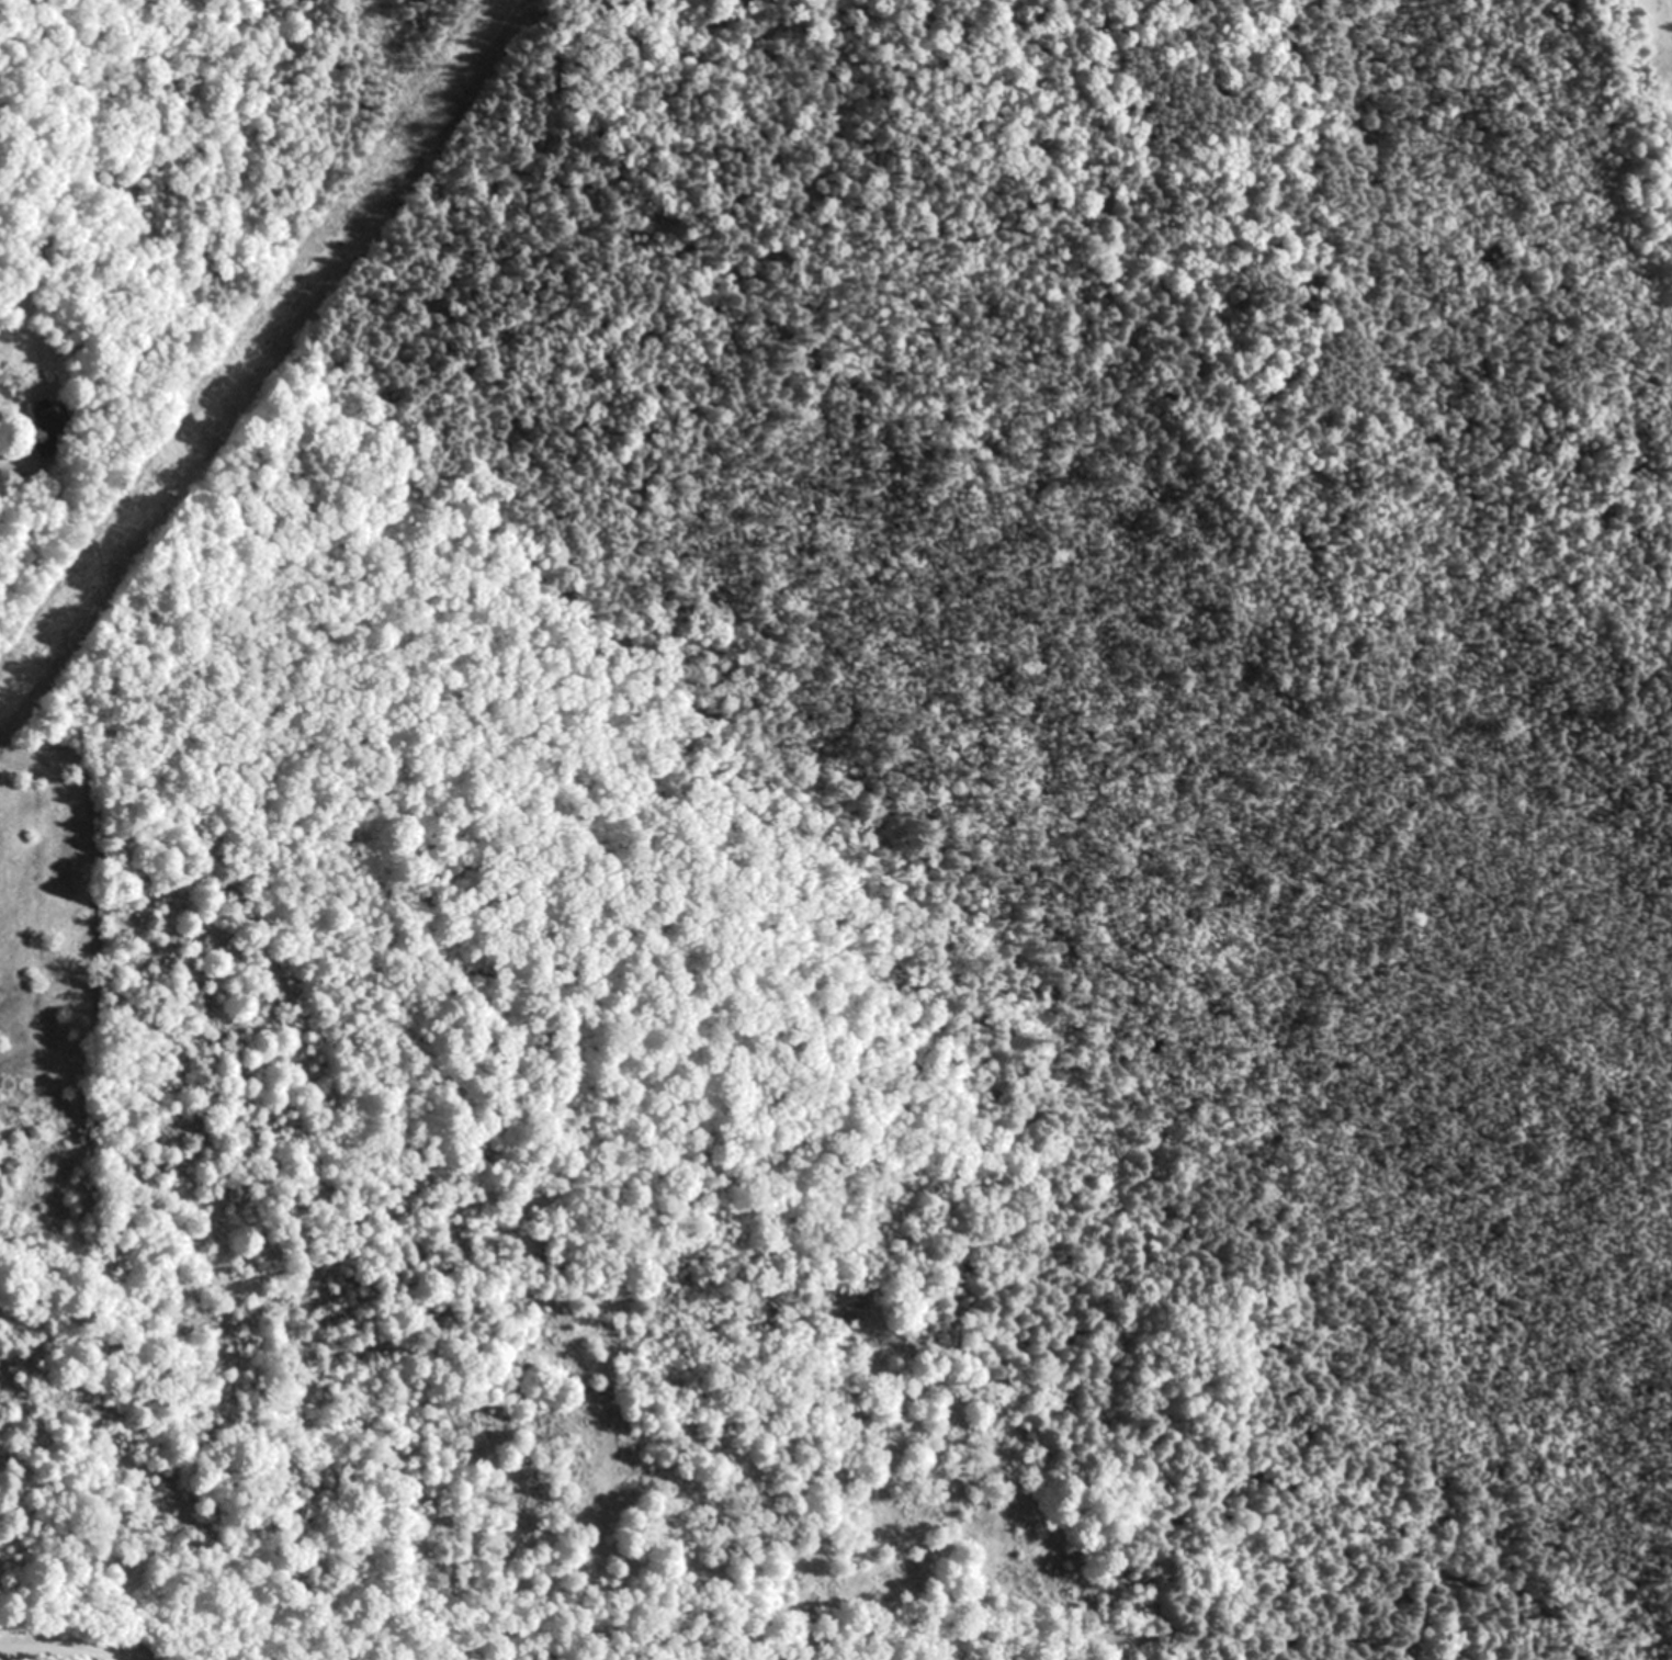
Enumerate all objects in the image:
power tower: (477, 42)
power tower: (287, 290)
building: (46, 427)
road: (5, 462)
power tower: (125, 527)
road: (59, 1644)
road: (120, 1652)

